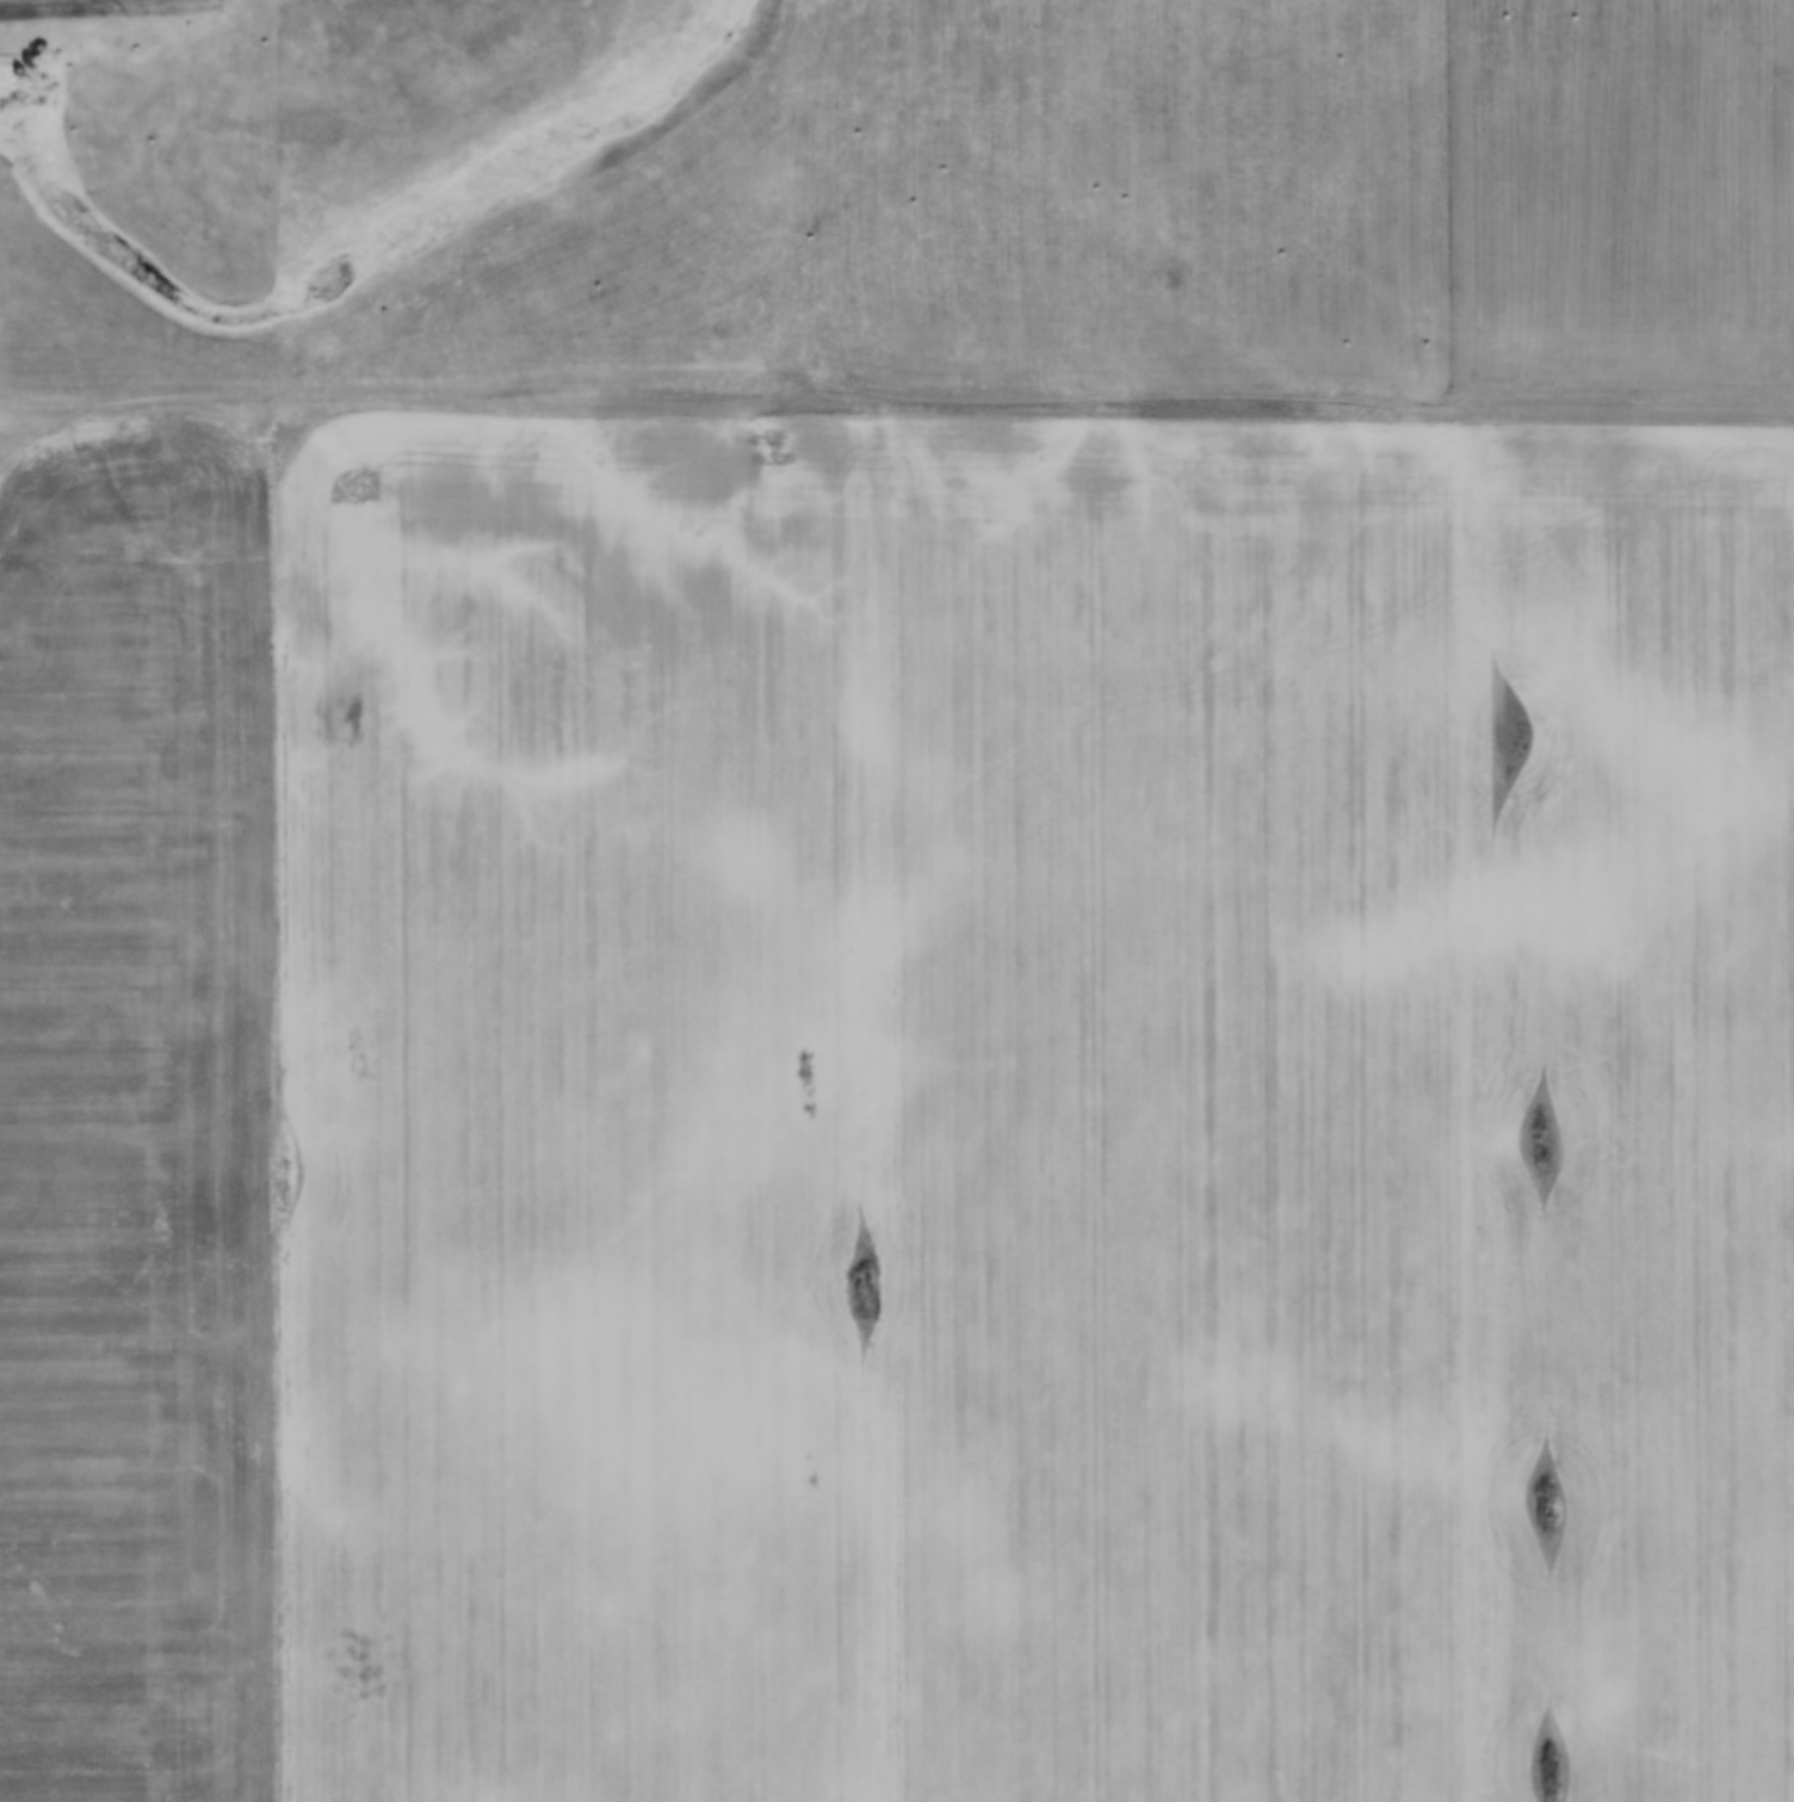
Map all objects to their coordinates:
road: (895, 398)

